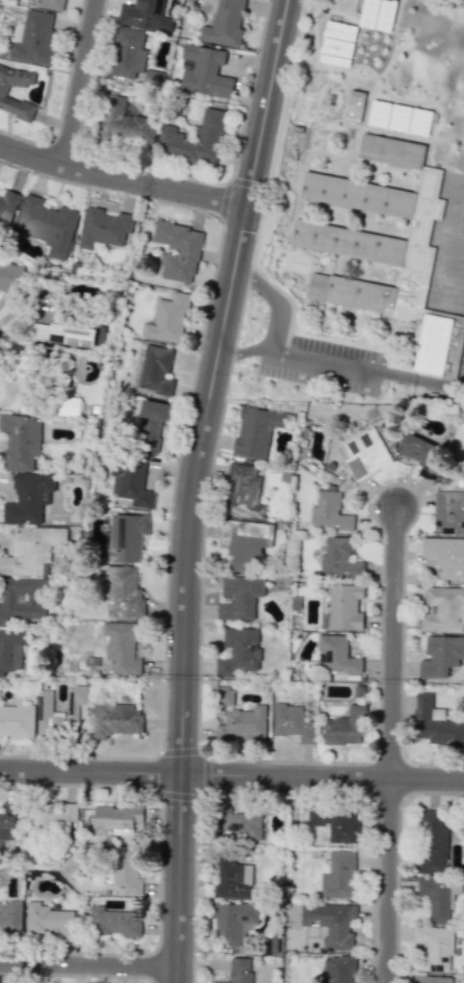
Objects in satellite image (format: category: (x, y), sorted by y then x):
building: (53, 4)
building: (377, 14)
building: (144, 15)
building: (224, 24)
building: (33, 37)
park: (387, 41)
building: (337, 43)
building: (128, 54)
building: (205, 71)
road: (78, 84)
building: (3, 92)
building: (354, 106)
building: (399, 118)
building: (125, 123)
building: (196, 139)
road: (122, 182)
building: (8, 206)
building: (48, 225)
building: (104, 227)
building: (326, 230)
building: (178, 250)
building: (11, 277)
building: (168, 319)
road: (271, 324)
building: (63, 334)
building: (438, 345)
parking lot: (324, 365)
road: (365, 368)
building: (155, 370)
road: (212, 385)
building: (61, 405)
building: (153, 415)
building: (255, 431)
building: (21, 441)
building: (365, 453)
building: (418, 454)
building: (129, 480)
building: (243, 491)
building: (28, 498)
building: (329, 511)
building: (448, 512)
building: (124, 538)
building: (243, 542)
building: (32, 550)
building: (445, 556)
building: (338, 558)
building: (123, 593)
building: (239, 597)
building: (23, 600)
building: (343, 608)
building: (443, 610)
building: (122, 647)
building: (12, 649)
building: (238, 652)
building: (335, 655)
building: (440, 655)
building: (225, 695)
building: (45, 711)
building: (116, 719)
building: (16, 720)
building: (292, 723)
building: (435, 723)
building: (243, 724)
building: (345, 727)
road: (393, 745)
road: (92, 772)
road: (324, 778)
building: (53, 816)
building: (116, 819)
building: (242, 823)
building: (336, 823)
building: (8, 824)
building: (432, 842)
building: (125, 870)
building: (338, 875)
road: (180, 879)
building: (233, 879)
building: (436, 898)
building: (10, 916)
building: (48, 919)
building: (111, 921)
building: (235, 921)
building: (331, 923)
building: (434, 947)
road: (88, 965)
building: (338, 969)
building: (239, 971)
building: (431, 979)

